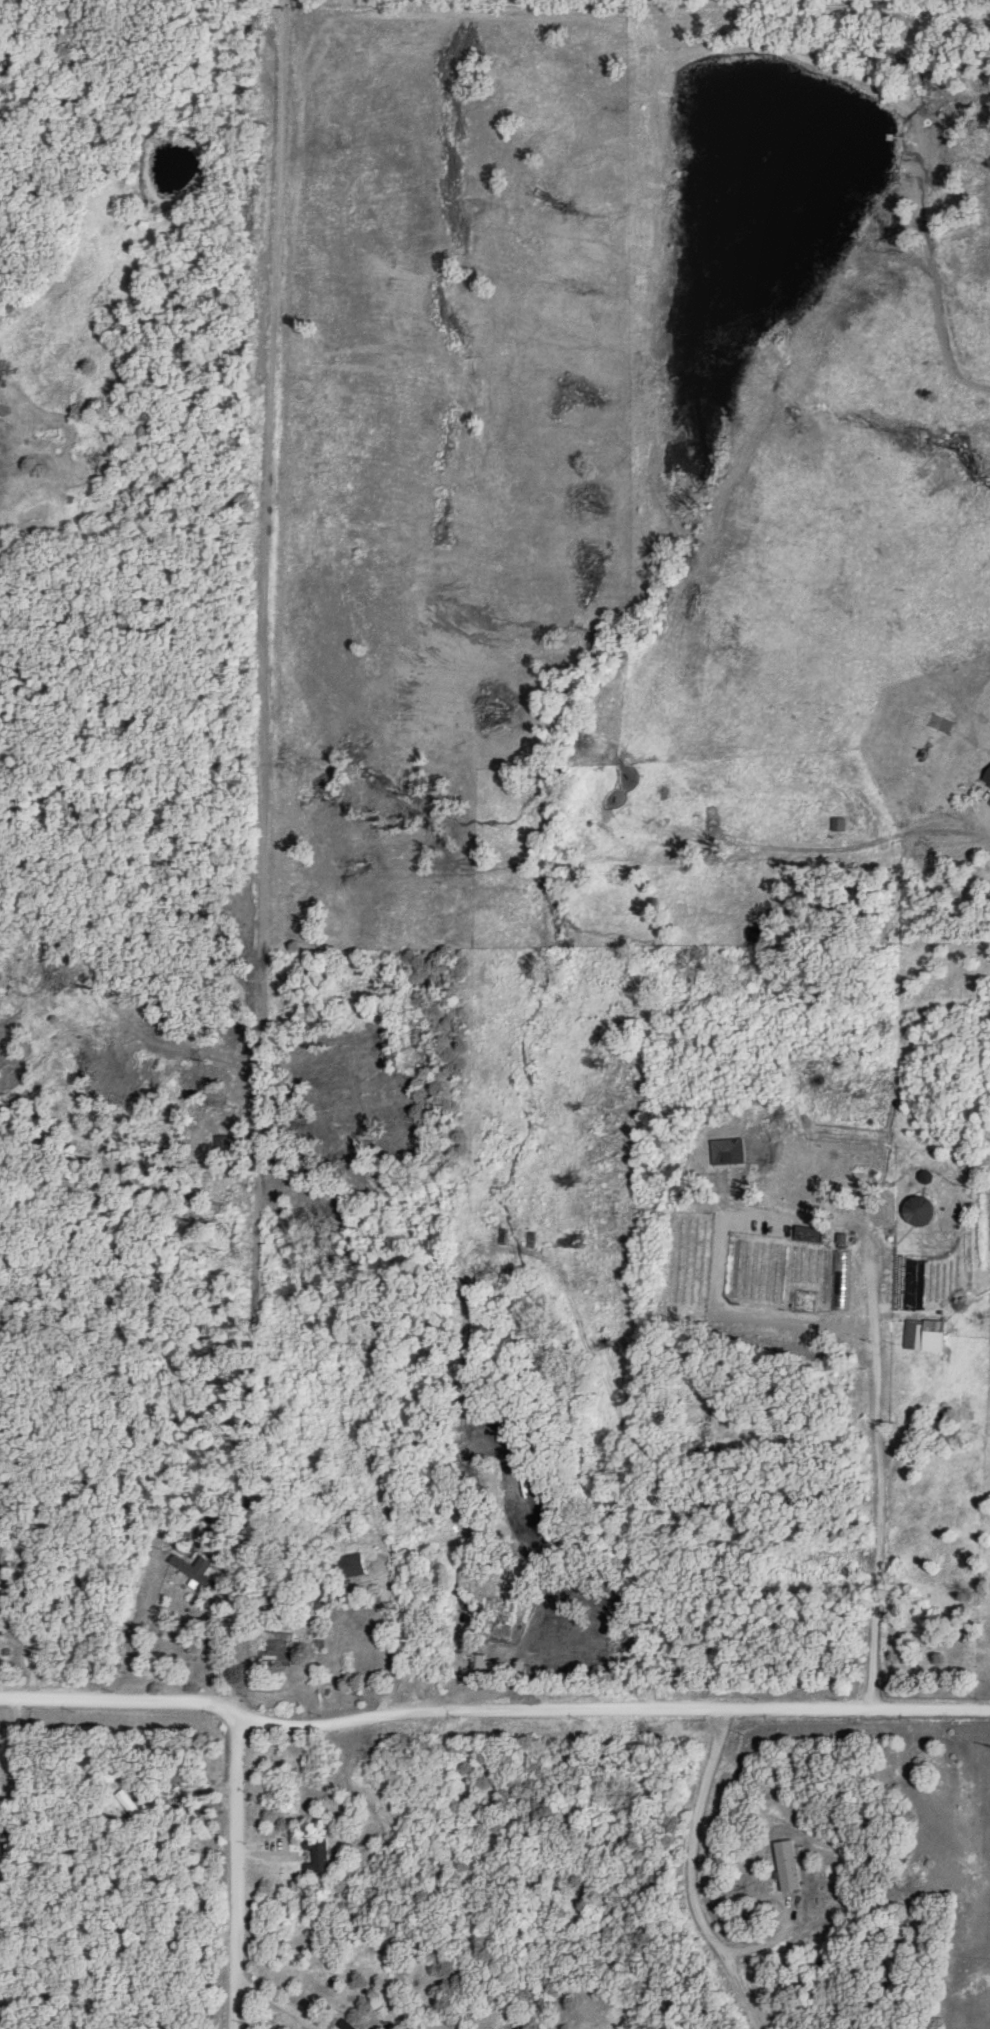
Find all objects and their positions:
building: (729, 1151)
building: (918, 1209)
building: (934, 1335)
building: (198, 1569)
building: (279, 1637)
road: (491, 1709)
road: (239, 1802)
building: (318, 1855)

